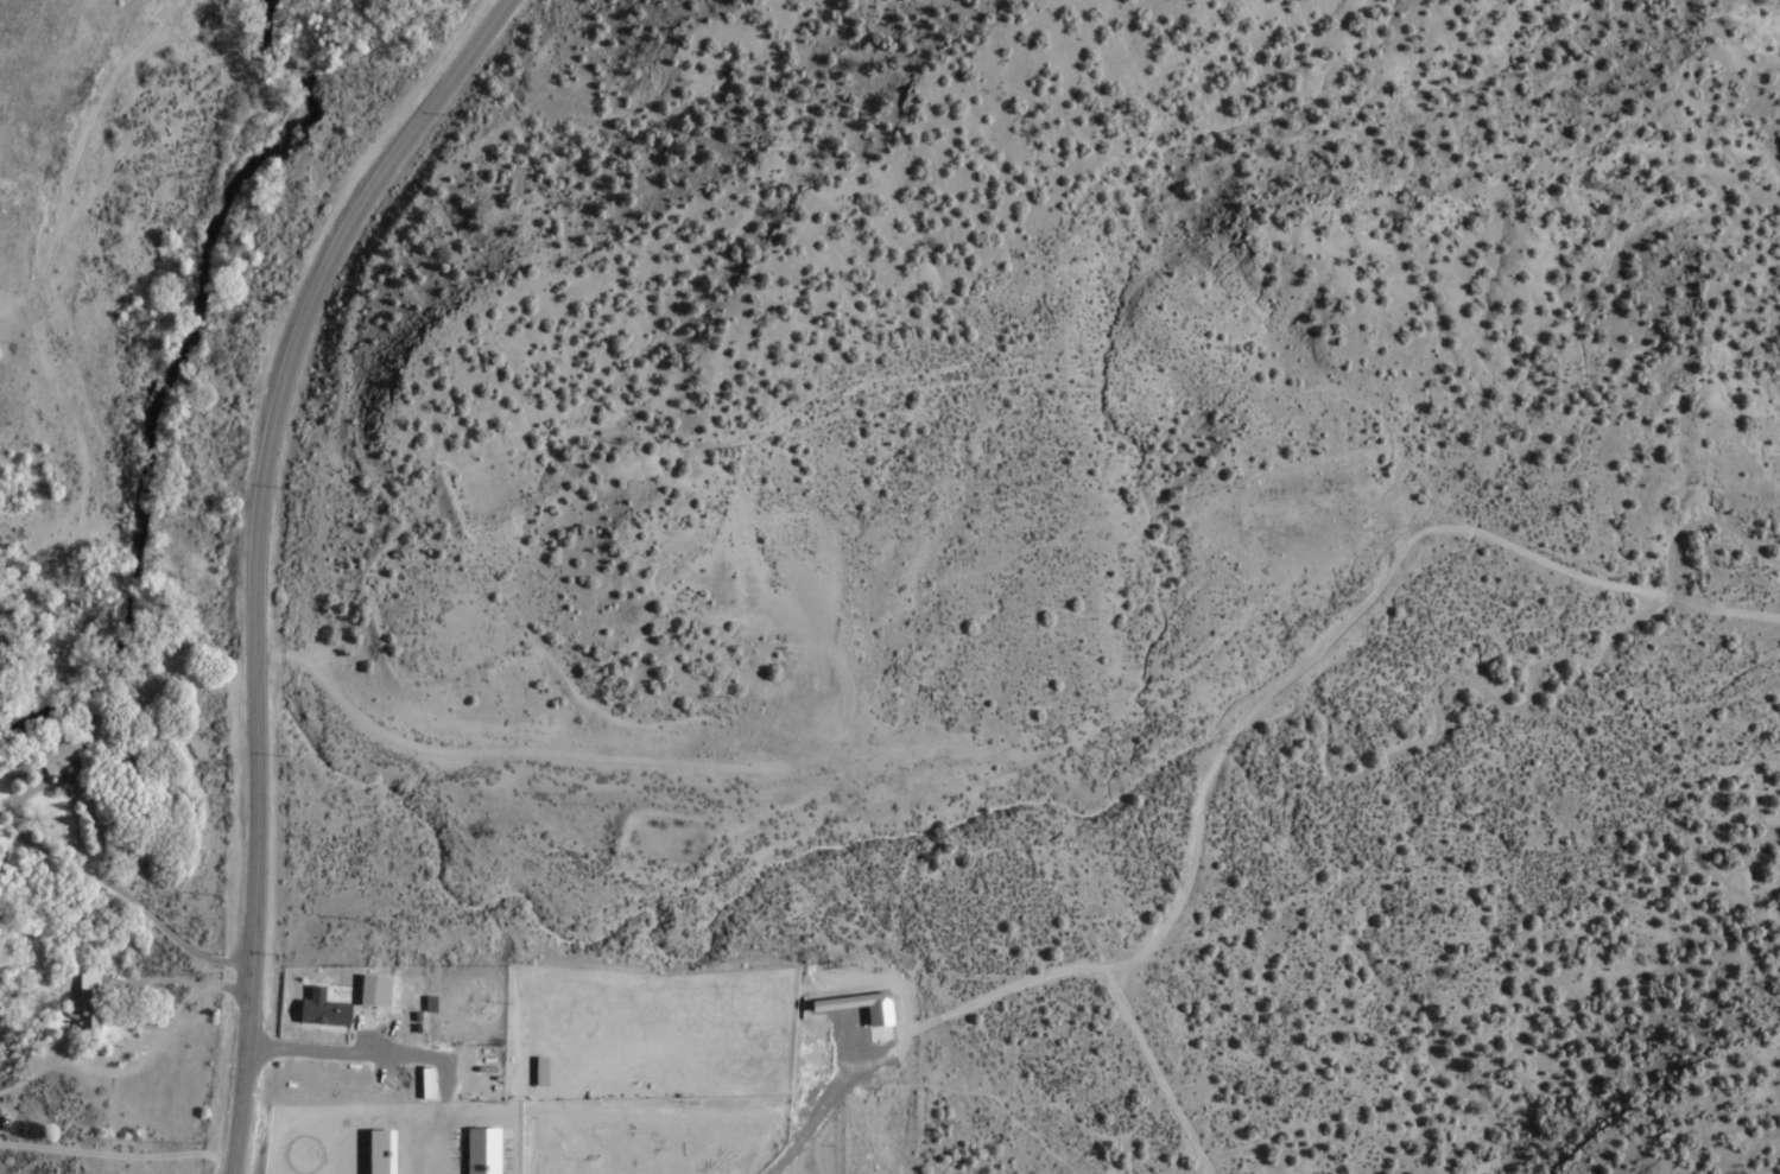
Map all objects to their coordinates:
river: (176, 369)
road: (258, 553)
building: (794, 681)
building: (65, 756)
road: (1016, 985)
building: (375, 991)
building: (83, 1002)
building: (323, 1010)
building: (9, 1124)

